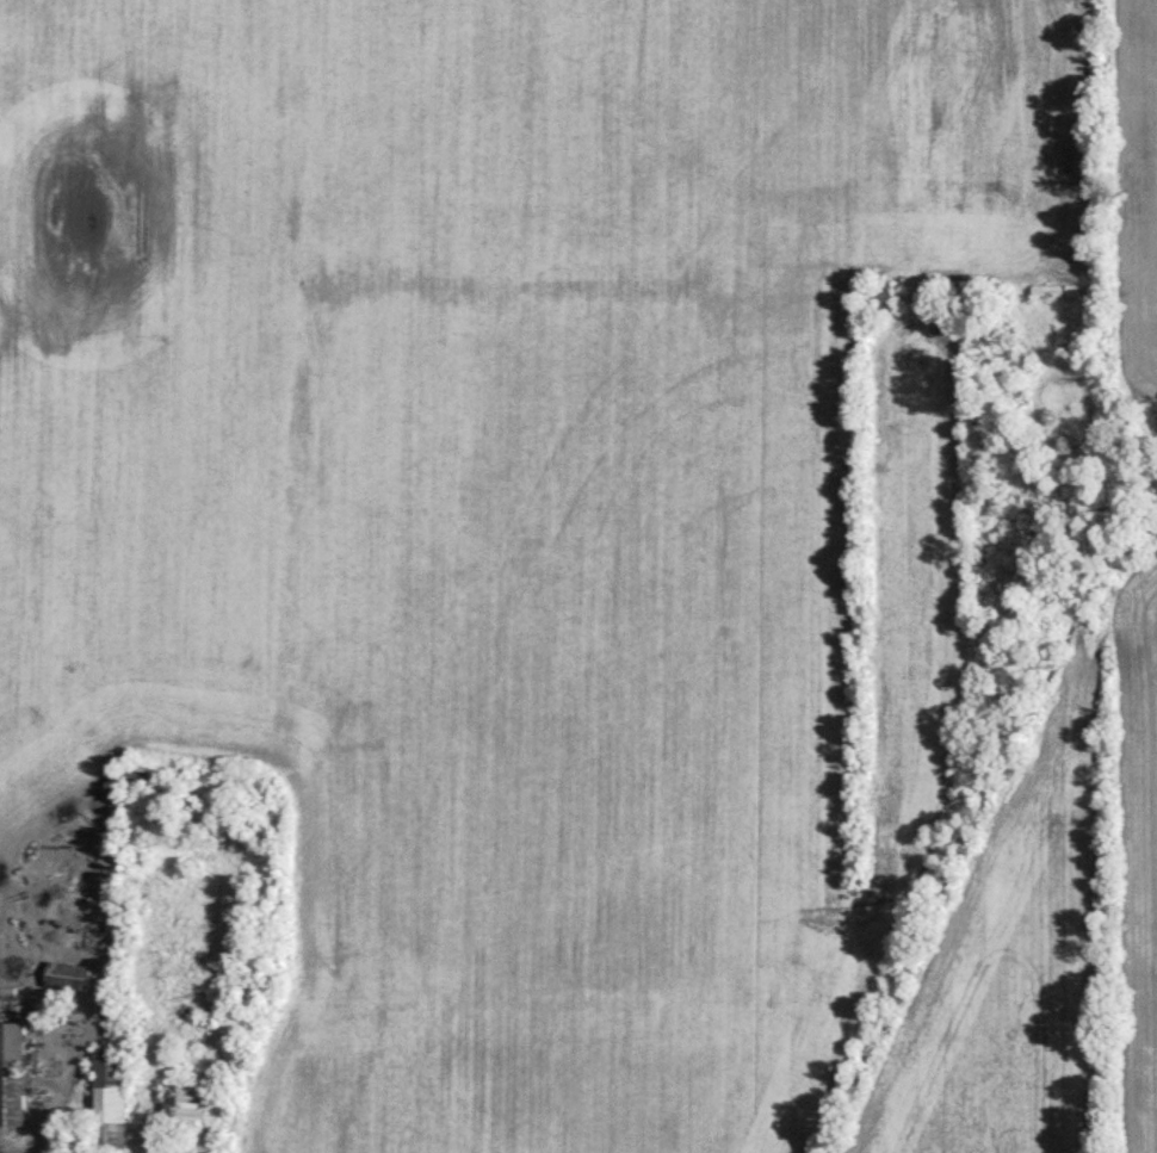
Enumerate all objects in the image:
building: (1054, 290)
building: (70, 973)
building: (12, 1072)
building: (110, 1099)
building: (184, 1099)

